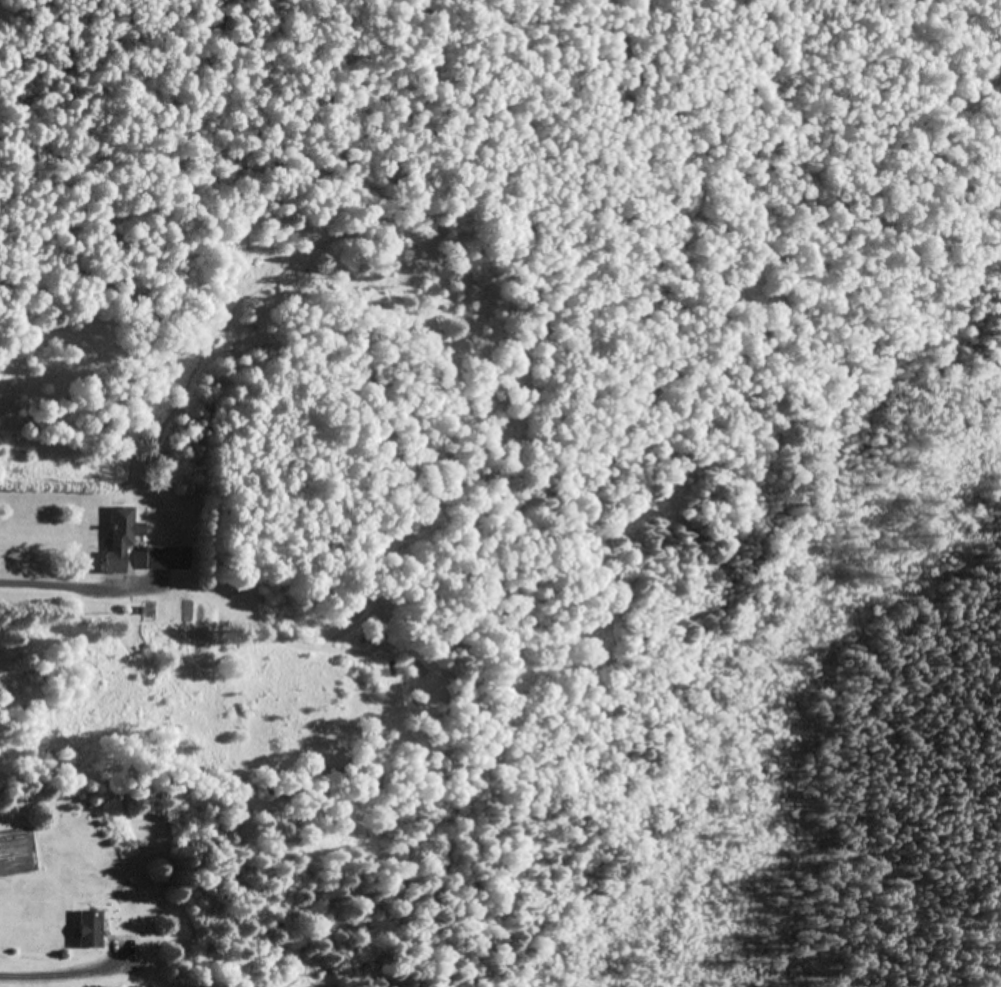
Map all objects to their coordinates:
building: (123, 536)
building: (168, 556)
building: (93, 927)

